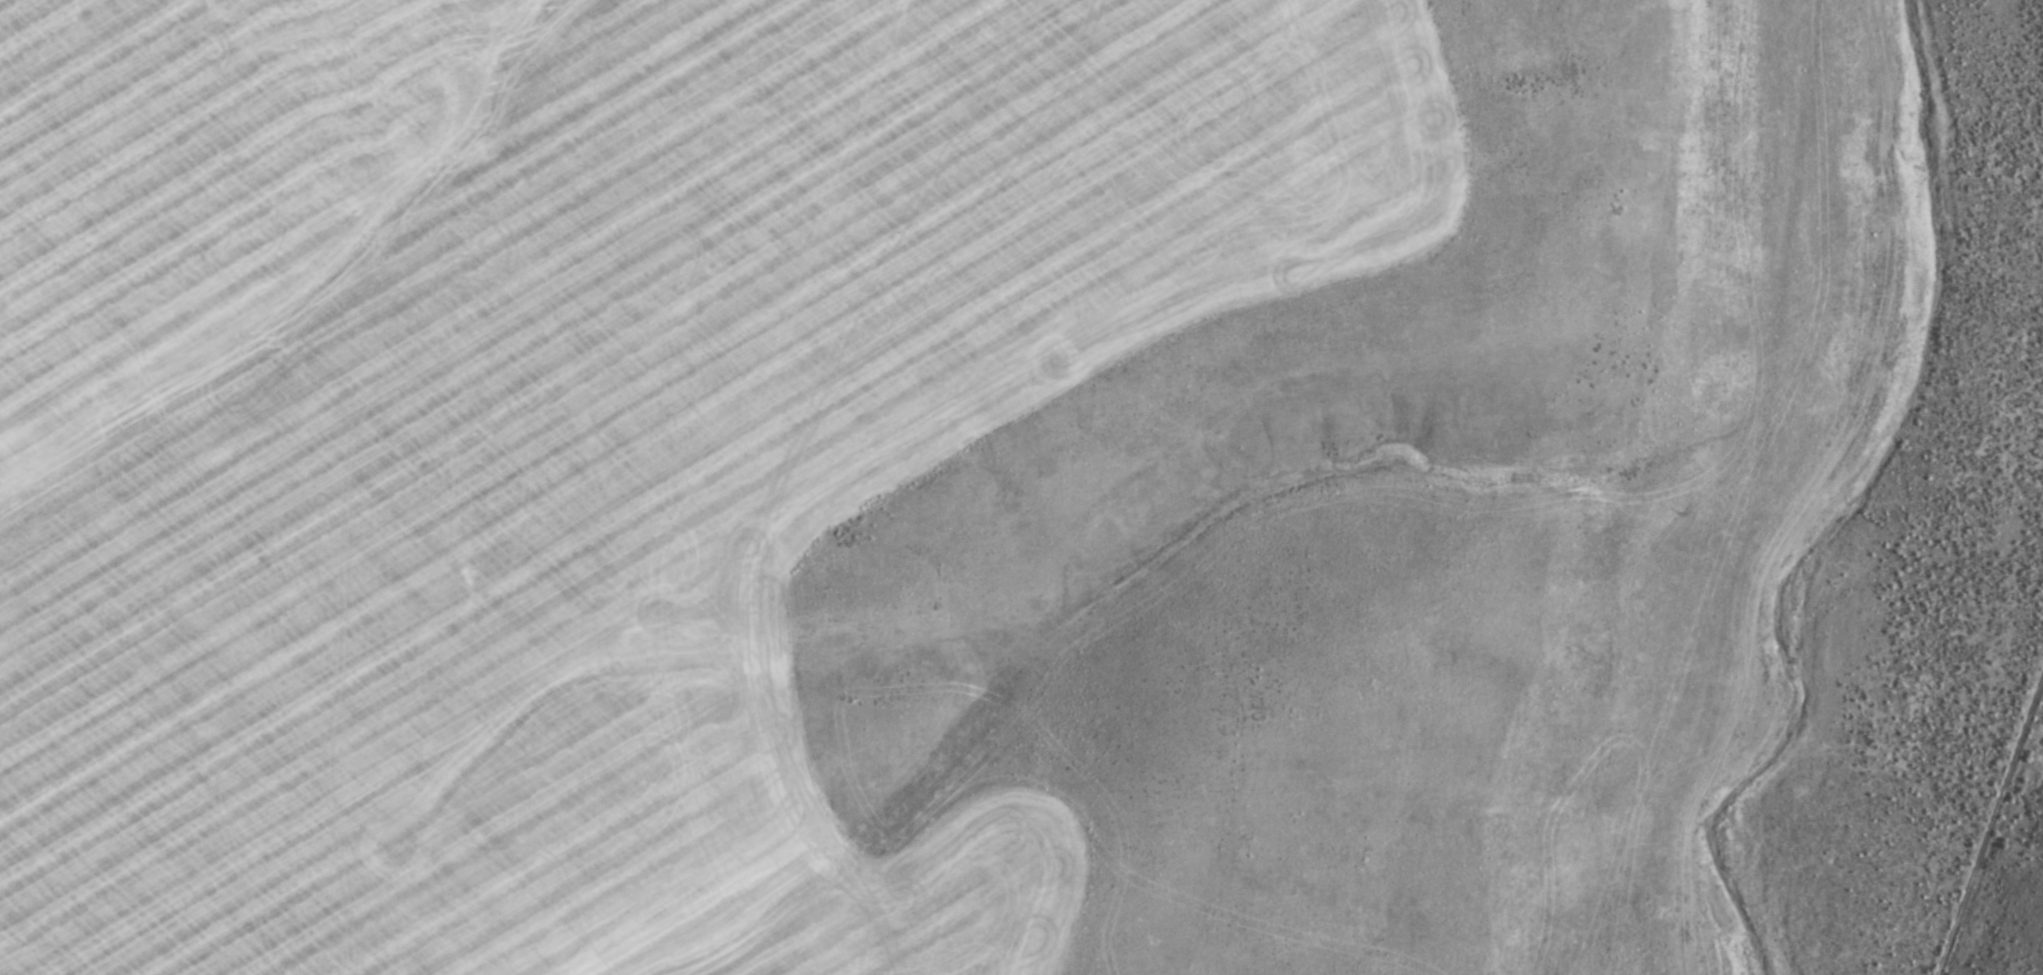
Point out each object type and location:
road: (2041, 265)
road: (1986, 755)

